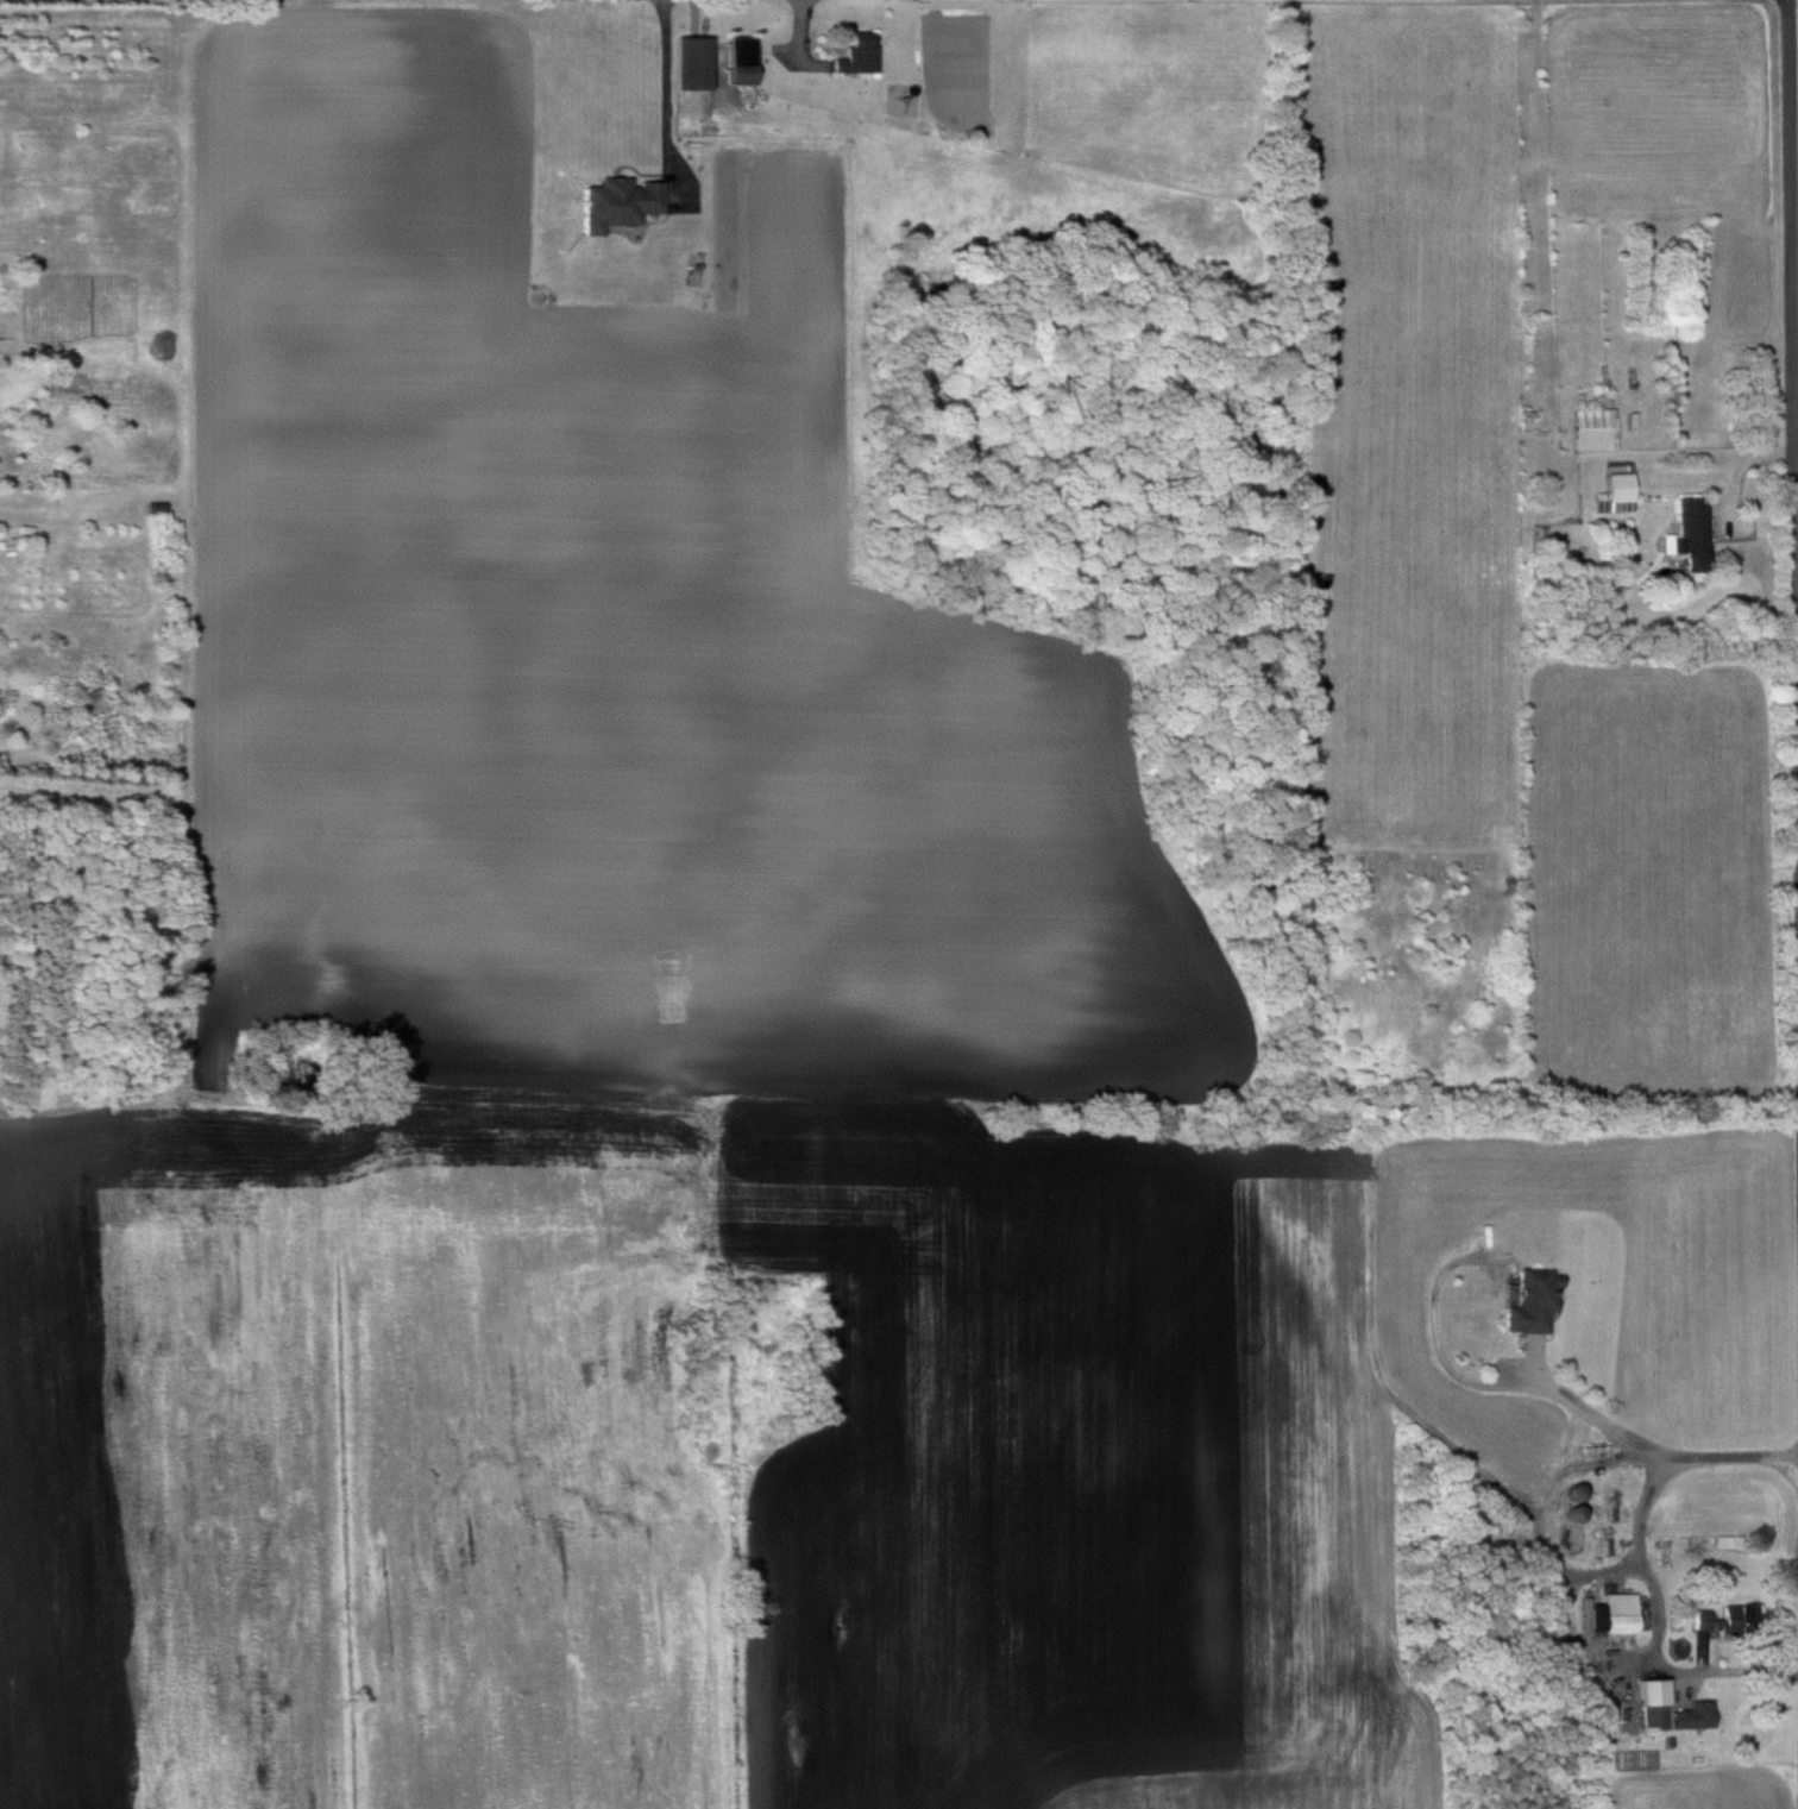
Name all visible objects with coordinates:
building: (857, 56)
building: (693, 58)
building: (740, 61)
road: (684, 90)
road: (1794, 187)
building: (620, 203)
building: (1596, 431)
road: (1742, 472)
building: (1620, 483)
building: (155, 509)
building: (1695, 535)
building: (1532, 1302)
road: (1593, 1414)
building: (1568, 1539)
road: (1641, 1566)
building: (1615, 1615)
building: (1723, 1621)
building: (1653, 1704)
building: (1696, 1716)

